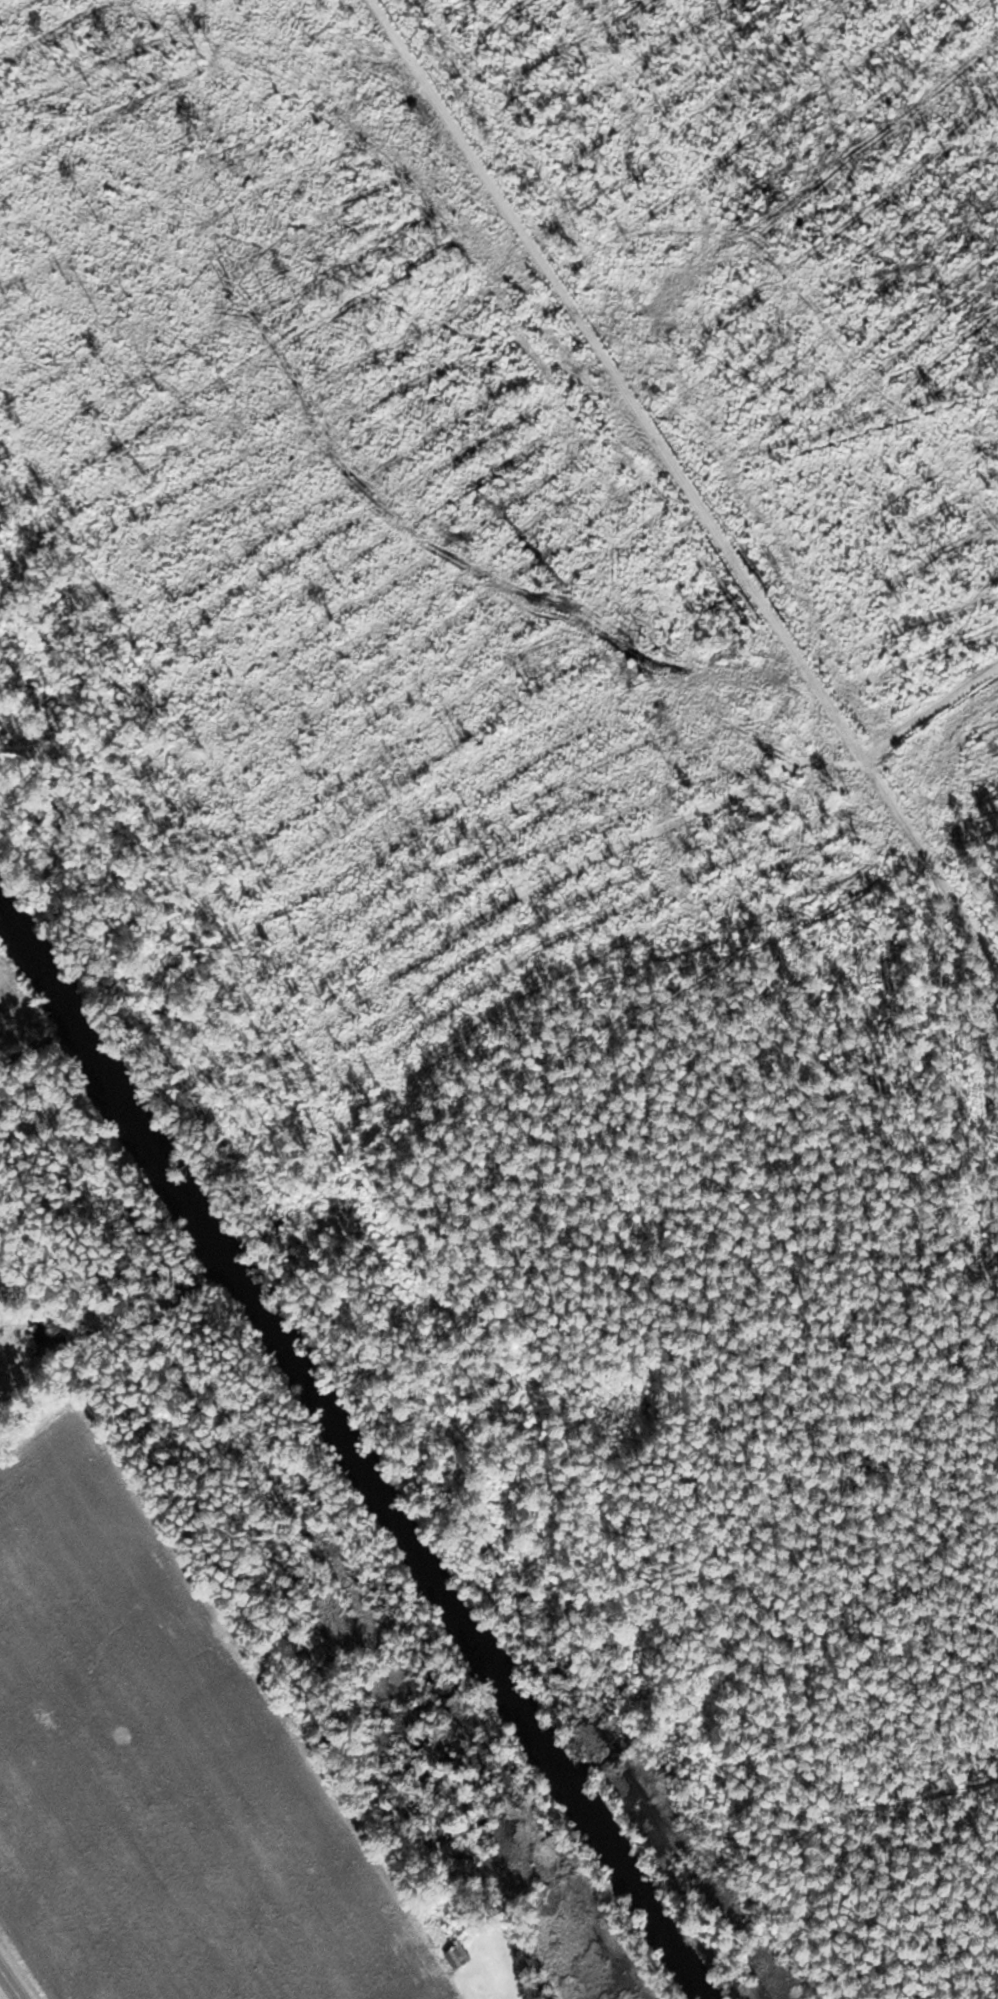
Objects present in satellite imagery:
building: (462, 1958)
road: (13, 1979)

